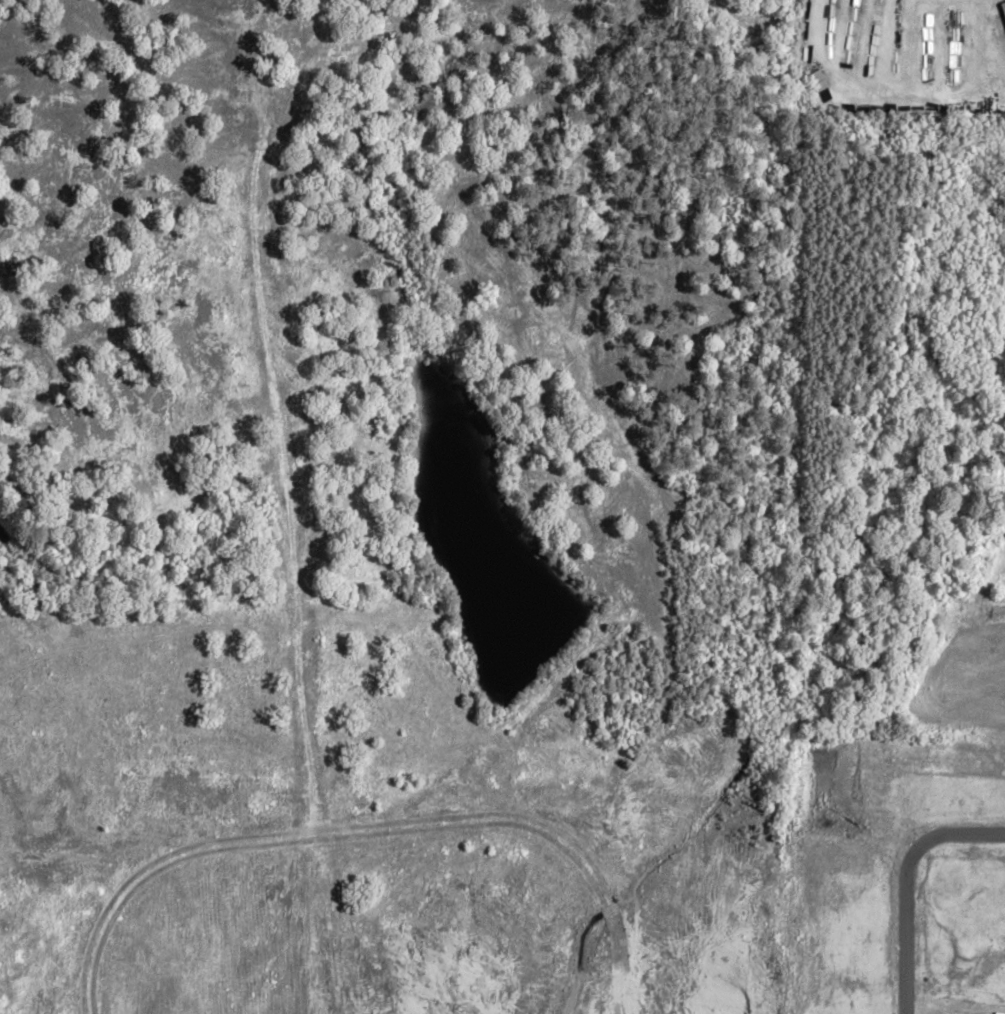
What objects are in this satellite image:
road: (902, 879)

